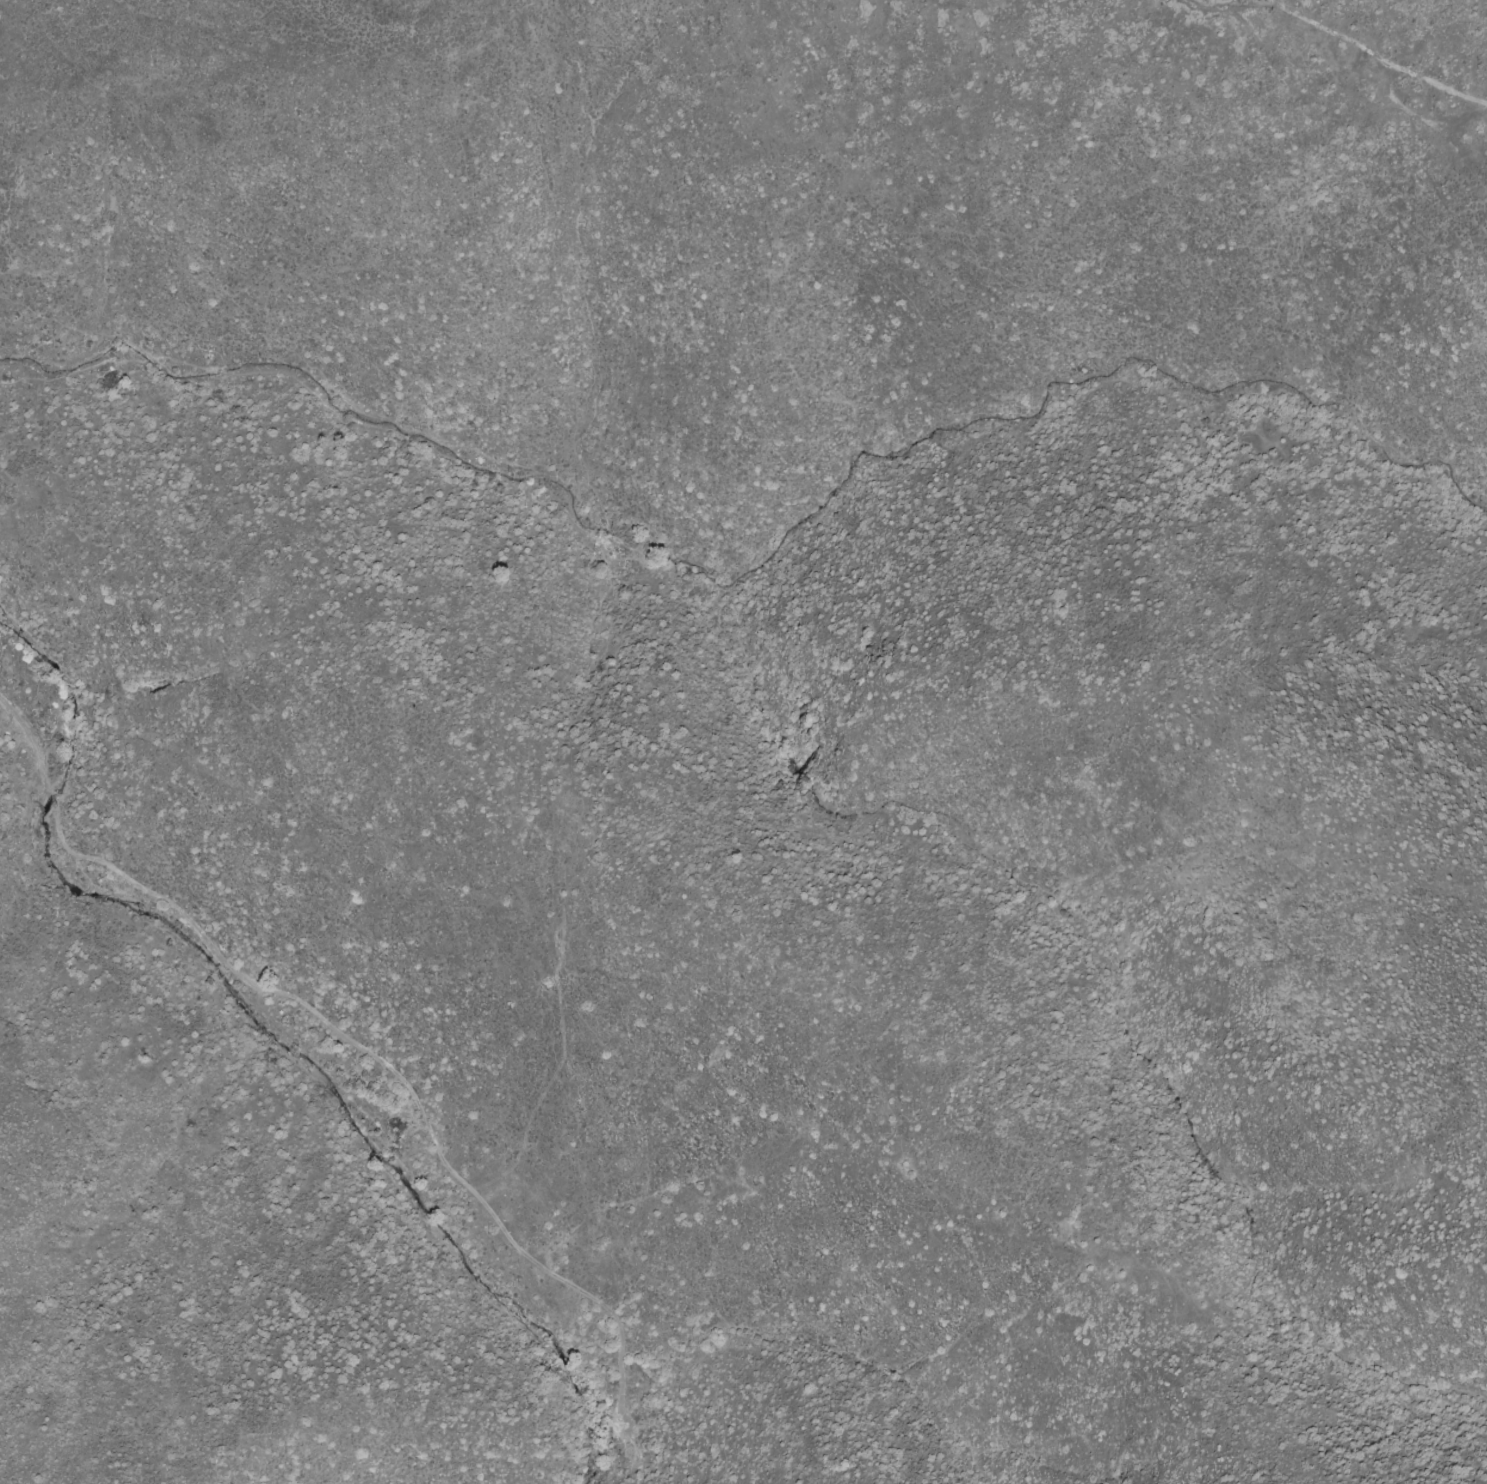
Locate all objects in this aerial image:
road: (1334, 38)

